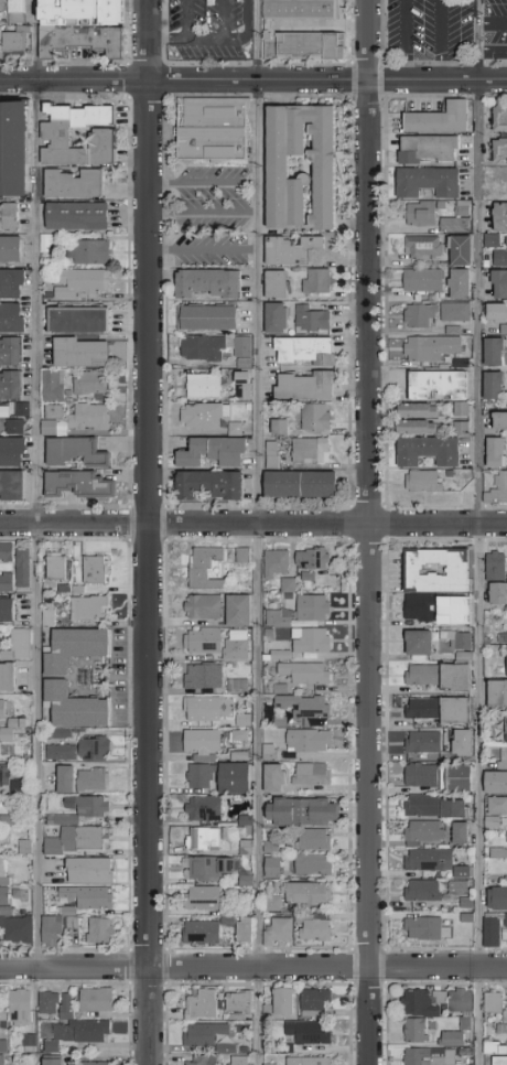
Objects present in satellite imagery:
building: (300, 10)
building: (83, 13)
building: (13, 14)
road: (186, 19)
road: (222, 20)
road: (246, 21)
road: (493, 25)
parking lot: (444, 28)
parking lot: (209, 30)
road: (212, 39)
building: (83, 40)
road: (166, 40)
road: (403, 41)
road: (441, 41)
building: (11, 42)
building: (304, 44)
road: (493, 49)
road: (252, 82)
building: (499, 116)
building: (439, 119)
building: (213, 129)
building: (54, 132)
building: (101, 146)
building: (427, 148)
building: (13, 149)
building: (499, 151)
building: (323, 169)
building: (496, 171)
building: (427, 182)
building: (73, 184)
road: (201, 187)
building: (496, 189)
building: (461, 207)
building: (419, 214)
building: (75, 216)
road: (201, 216)
building: (8, 217)
parking lot: (211, 217)
building: (499, 217)
building: (453, 224)
building: (490, 240)
building: (44, 243)
building: (422, 247)
building: (10, 249)
building: (460, 249)
road: (201, 250)
building: (88, 251)
building: (293, 251)
building: (500, 256)
building: (422, 279)
building: (80, 282)
building: (313, 282)
building: (11, 283)
building: (207, 283)
building: (459, 283)
building: (499, 283)
building: (274, 284)
building: (454, 311)
building: (496, 312)
building: (419, 315)
building: (11, 318)
building: (205, 318)
building: (274, 318)
building: (310, 319)
building: (76, 321)
building: (241, 346)
building: (201, 347)
building: (430, 347)
building: (304, 351)
building: (10, 352)
building: (493, 352)
building: (78, 353)
building: (10, 385)
building: (51, 385)
building: (89, 385)
building: (438, 385)
building: (202, 386)
building: (304, 386)
building: (492, 386)
building: (21, 409)
building: (460, 409)
building: (417, 410)
building: (51, 411)
building: (202, 415)
building: (314, 416)
building: (87, 417)
building: (499, 421)
building: (13, 427)
building: (278, 427)
building: (416, 427)
building: (460, 428)
building: (310, 450)
building: (427, 451)
building: (11, 452)
building: (74, 452)
building: (212, 452)
building: (495, 452)
building: (422, 481)
road: (36, 483)
building: (299, 484)
building: (11, 485)
building: (76, 485)
building: (207, 485)
building: (497, 488)
road: (253, 523)
road: (149, 531)
road: (256, 531)
road: (367, 531)
road: (477, 531)
building: (6, 550)
building: (311, 558)
building: (274, 561)
building: (55, 564)
building: (495, 566)
building: (21, 567)
building: (204, 567)
building: (94, 569)
building: (435, 569)
building: (306, 574)
building: (6, 581)
building: (497, 592)
building: (202, 605)
building: (311, 605)
building: (87, 606)
building: (419, 606)
building: (6, 609)
building: (237, 609)
building: (278, 617)
building: (201, 639)
building: (462, 639)
building: (310, 641)
building: (418, 641)
building: (18, 644)
building: (235, 644)
building: (73, 646)
building: (280, 654)
building: (506, 659)
building: (303, 671)
building: (421, 674)
building: (6, 675)
building: (203, 675)
building: (454, 676)
building: (236, 685)
building: (279, 688)
building: (496, 691)
building: (73, 704)
building: (303, 704)
building: (421, 707)
building: (4, 708)
building: (202, 708)
building: (453, 708)
building: (10, 728)
building: (506, 728)
building: (306, 739)
building: (201, 740)
building: (422, 741)
building: (461, 741)
building: (93, 747)
building: (60, 751)
building: (268, 751)
building: (503, 756)
building: (311, 773)
building: (420, 774)
building: (199, 775)
building: (233, 776)
building: (272, 776)
building: (456, 776)
building: (64, 777)
building: (90, 779)
building: (495, 781)
building: (17, 785)
building: (86, 804)
building: (421, 804)
building: (496, 805)
building: (203, 807)
building: (452, 807)
building: (300, 810)
building: (61, 819)
building: (423, 830)
building: (459, 831)
building: (236, 832)
building: (198, 837)
building: (312, 838)
building: (75, 839)
building: (506, 840)
building: (23, 845)
building: (499, 852)
building: (428, 859)
building: (311, 863)
building: (208, 867)
building: (89, 869)
building: (2, 871)
building: (461, 871)
building: (456, 886)
building: (422, 890)
building: (306, 892)
building: (3, 895)
building: (202, 896)
building: (497, 897)
building: (272, 902)
building: (465, 902)
building: (314, 927)
building: (18, 928)
building: (51, 928)
building: (244, 928)
building: (425, 928)
building: (494, 928)
building: (98, 929)
building: (277, 930)
building: (198, 932)
road: (253, 967)
building: (98, 1001)
building: (463, 1002)
building: (494, 1003)
building: (51, 1004)
building: (241, 1004)
building: (316, 1004)
building: (424, 1004)
building: (282, 1005)
building: (204, 1007)
building: (22, 1009)
building: (68, 1009)
building: (3, 1016)
building: (506, 1019)
building: (467, 1025)
building: (503, 1031)
building: (84, 1032)
building: (417, 1032)
building: (311, 1033)
building: (206, 1035)
building: (453, 1041)
building: (31, 1045)
building: (4, 1047)
building: (54, 1048)
building: (228, 1050)
building: (495, 1050)
building: (466, 1053)
building: (431, 1057)
building: (3, 1061)
building: (54, 1061)
building: (206, 1061)
building: (241, 1062)
building: (311, 1062)
building: (500, 1062)
building: (94, 1063)
building: (190, 1064)
building: (269, 1064)

